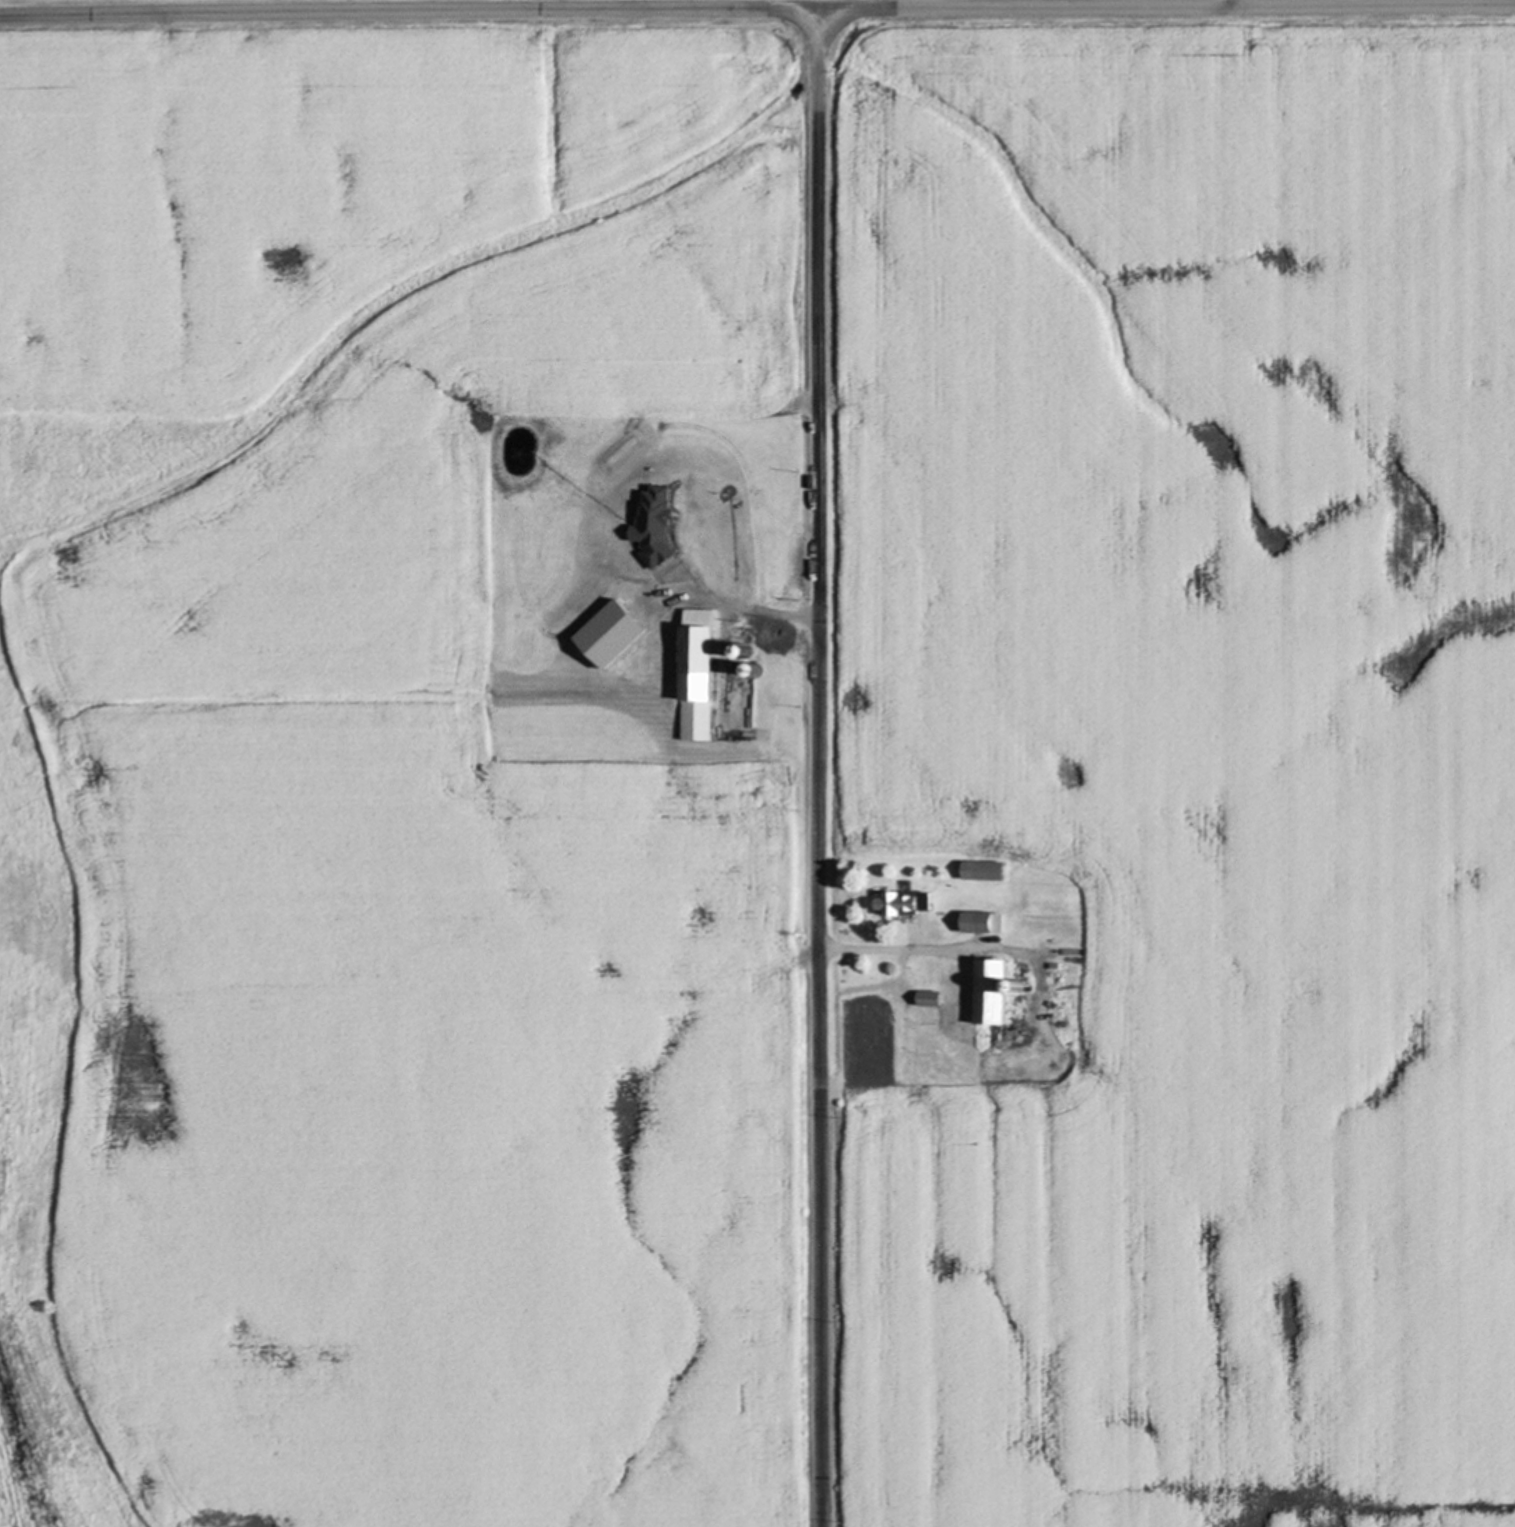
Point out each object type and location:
road: (757, 10)
building: (651, 528)
building: (718, 565)
building: (751, 568)
building: (650, 576)
road: (739, 609)
building: (750, 622)
building: (671, 630)
building: (619, 633)
building: (747, 651)
building: (729, 652)
building: (757, 669)
building: (695, 673)
road: (819, 768)
building: (982, 870)
building: (902, 903)
building: (981, 922)
road: (913, 948)
building: (1018, 986)
building: (988, 991)
building: (928, 998)

